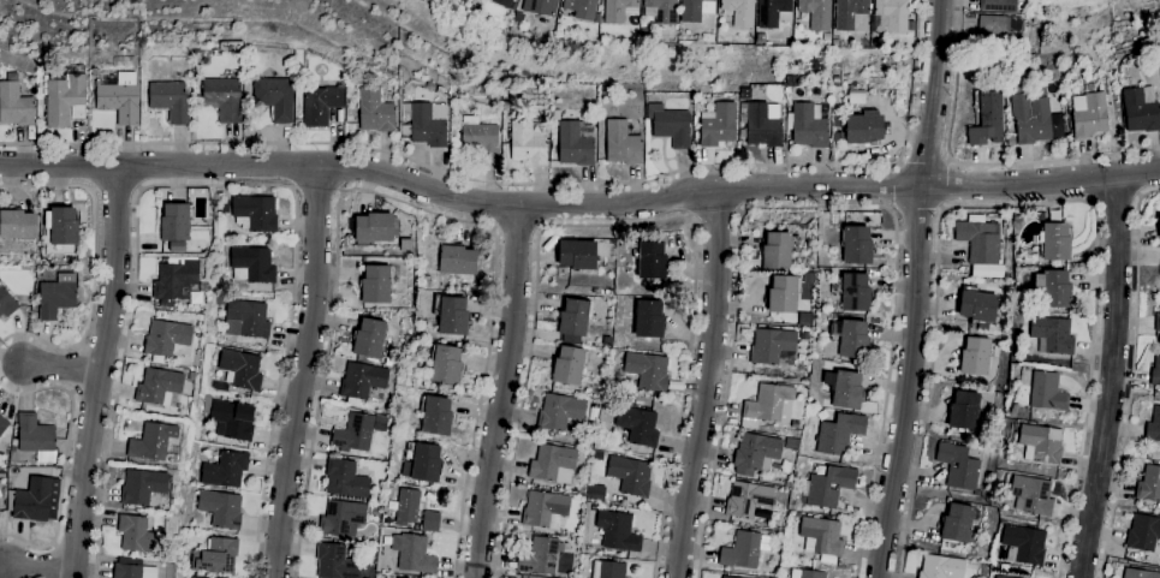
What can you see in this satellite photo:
building: (501, 2)
building: (998, 5)
building: (1021, 5)
building: (540, 6)
building: (581, 8)
building: (619, 10)
building: (660, 11)
building: (691, 11)
building: (739, 12)
building: (475, 13)
building: (773, 13)
building: (816, 13)
building: (851, 16)
building: (890, 16)
building: (519, 18)
building: (1003, 31)
building: (761, 38)
building: (904, 55)
building: (1156, 56)
building: (429, 85)
building: (439, 90)
building: (118, 97)
building: (787, 97)
building: (65, 99)
building: (222, 99)
building: (274, 99)
building: (856, 99)
building: (169, 101)
building: (14, 106)
building: (320, 106)
building: (1141, 109)
building: (375, 111)
building: (1088, 113)
building: (1030, 119)
building: (987, 120)
building: (426, 123)
building: (718, 125)
building: (760, 125)
building: (670, 126)
building: (807, 126)
building: (858, 127)
building: (480, 139)
building: (576, 143)
building: (527, 144)
building: (621, 144)
road: (924, 160)
road: (974, 163)
road: (58, 166)
road: (214, 184)
road: (530, 184)
road: (894, 185)
road: (945, 185)
road: (115, 190)
road: (316, 190)
road: (1116, 199)
road: (399, 202)
road: (1019, 202)
road: (636, 204)
building: (224, 207)
road: (814, 207)
road: (917, 210)
building: (255, 214)
road: (712, 214)
building: (1017, 219)
building: (176, 222)
building: (17, 225)
building: (61, 226)
road: (620, 226)
building: (1159, 226)
building: (376, 228)
road: (517, 230)
building: (1053, 242)
building: (793, 244)
building: (406, 245)
building: (856, 245)
building: (980, 245)
building: (775, 251)
building: (576, 255)
building: (457, 260)
building: (652, 262)
road: (94, 264)
building: (251, 266)
building: (177, 282)
building: (375, 285)
building: (1051, 288)
road: (914, 290)
building: (855, 293)
building: (783, 294)
building: (56, 296)
building: (6, 303)
building: (976, 305)
building: (451, 316)
building: (246, 320)
building: (648, 320)
building: (573, 321)
building: (1158, 321)
building: (803, 332)
building: (1051, 335)
building: (166, 338)
building: (851, 340)
building: (370, 341)
building: (772, 346)
building: (218, 347)
building: (975, 357)
building: (445, 365)
building: (569, 367)
road: (64, 369)
building: (240, 370)
building: (805, 370)
building: (1155, 370)
road: (100, 371)
road: (303, 371)
building: (647, 371)
building: (191, 376)
road: (1111, 379)
road: (1132, 379)
building: (361, 383)
road: (707, 385)
building: (221, 386)
building: (157, 387)
building: (844, 389)
road: (502, 392)
building: (1045, 392)
building: (768, 404)
building: (963, 411)
building: (1012, 411)
building: (559, 413)
building: (436, 417)
building: (232, 421)
building: (380, 424)
building: (2, 425)
building: (636, 425)
building: (1153, 427)
building: (353, 434)
building: (838, 434)
building: (35, 439)
building: (151, 441)
building: (790, 445)
building: (1040, 445)
building: (173, 452)
building: (755, 454)
road: (64, 459)
building: (421, 463)
building: (553, 464)
building: (957, 466)
building: (225, 471)
building: (630, 476)
building: (345, 479)
building: (1149, 484)
building: (829, 487)
building: (141, 488)
building: (595, 493)
building: (1030, 495)
building: (0, 496)
building: (31, 497)
building: (748, 500)
building: (406, 507)
building: (221, 510)
building: (543, 511)
building: (762, 514)
building: (341, 518)
building: (428, 523)
building: (959, 524)
building: (618, 532)
building: (1143, 534)
building: (137, 535)
building: (821, 537)
building: (387, 542)
building: (1023, 546)
building: (744, 550)
building: (351, 554)
building: (412, 554)
building: (540, 556)
building: (216, 558)
building: (334, 562)
building: (940, 567)
road: (38, 568)
building: (608, 570)
building: (132, 572)
building: (1138, 573)
building: (807, 574)
building: (725, 577)
building: (998, 577)

